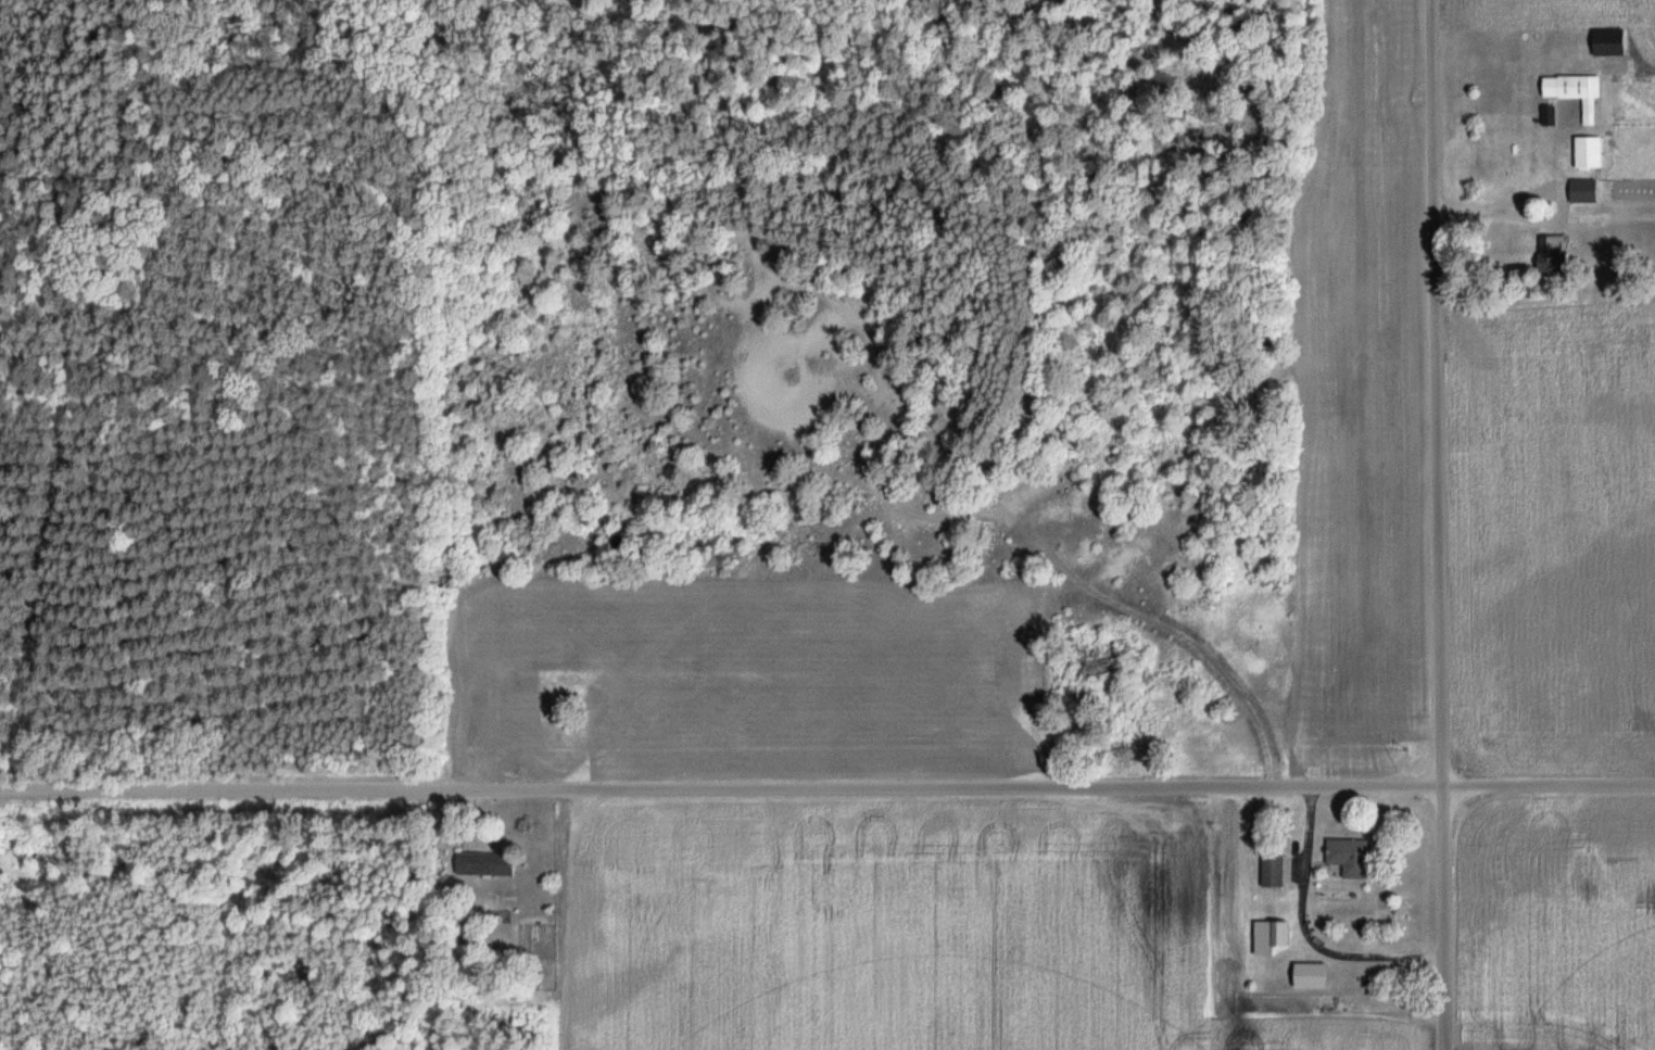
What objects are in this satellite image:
building: (1609, 42)
building: (1583, 96)
building: (1550, 115)
building: (1588, 153)
building: (1583, 191)
building: (1552, 254)
road: (1436, 524)
road: (827, 785)
building: (1350, 857)
building: (487, 864)
building: (1273, 871)
building: (1271, 937)
building: (1312, 976)

